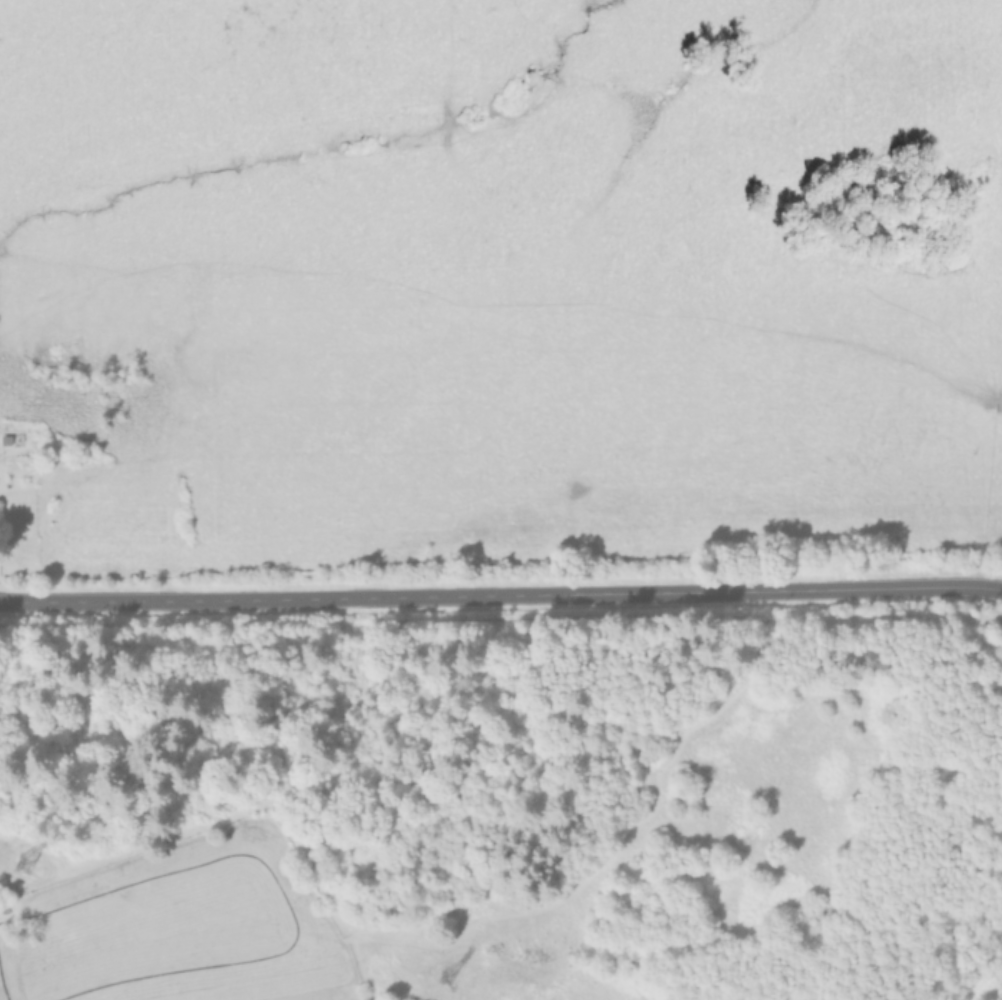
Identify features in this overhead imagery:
road: (501, 592)
power tower: (10, 865)
power tower: (436, 986)

